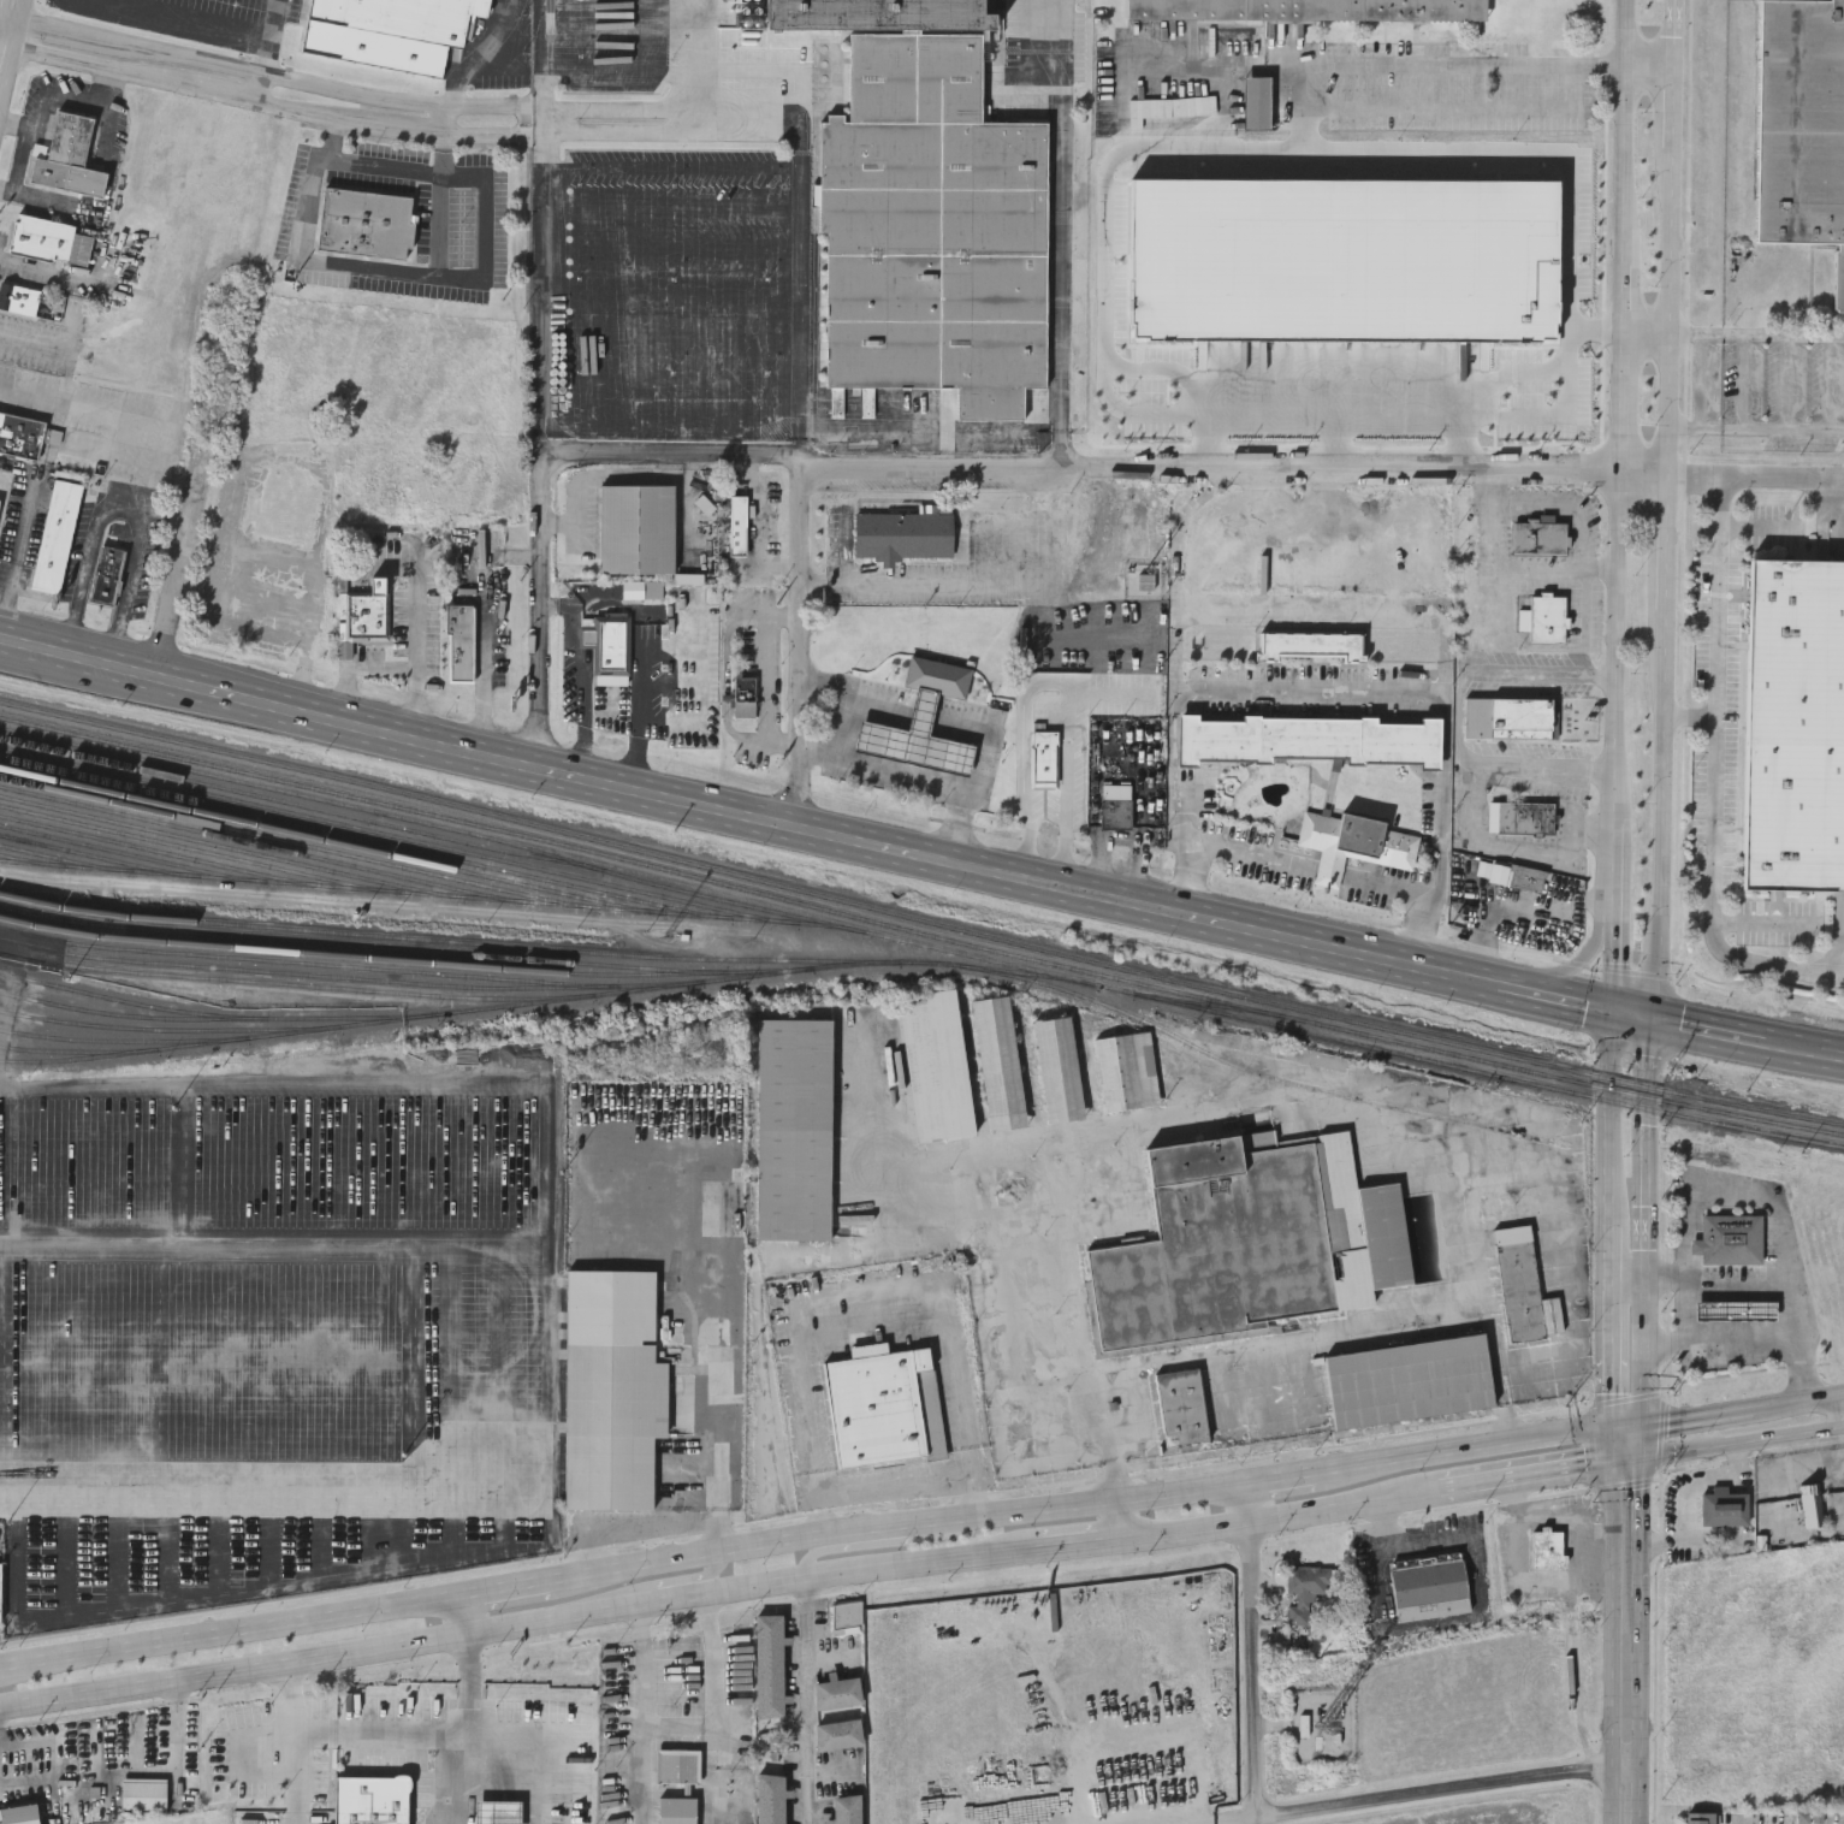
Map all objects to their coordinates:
building: (1306, 8)
road: (20, 19)
road: (273, 19)
road: (176, 22)
building: (390, 32)
road: (1677, 32)
road: (8, 37)
road: (266, 57)
road: (496, 61)
road: (1451, 65)
road: (8, 76)
road: (274, 76)
road: (1123, 84)
road: (260, 88)
road: (275, 106)
road: (1677, 107)
building: (1259, 113)
road: (615, 118)
road: (443, 120)
building: (1801, 126)
building: (67, 158)
road: (387, 167)
road: (799, 173)
building: (927, 212)
road: (1061, 214)
building: (364, 220)
building: (42, 236)
road: (364, 268)
road: (541, 277)
building: (19, 297)
road: (1674, 310)
road: (1599, 330)
road: (1757, 334)
road: (40, 339)
road: (1648, 342)
road: (1381, 416)
road: (1757, 427)
building: (19, 434)
road: (1209, 443)
road: (1336, 443)
road: (1465, 444)
road: (799, 446)
road: (1061, 450)
road: (115, 457)
road: (155, 468)
road: (1105, 469)
road: (1757, 475)
road: (128, 501)
building: (0, 504)
road: (1621, 505)
road: (1566, 509)
building: (287, 510)
road: (1492, 520)
building: (739, 522)
road: (764, 523)
building: (638, 526)
road: (319, 527)
road: (1757, 528)
building: (903, 532)
building: (55, 535)
building: (1537, 537)
road: (1670, 541)
road: (18, 565)
road: (178, 567)
road: (1536, 569)
road: (1600, 570)
building: (106, 573)
road: (85, 576)
road: (1179, 578)
road: (977, 581)
building: (641, 587)
road: (540, 603)
road: (1492, 603)
road: (1579, 605)
building: (367, 614)
building: (1546, 618)
road: (5, 640)
building: (461, 640)
road: (796, 641)
building: (1311, 642)
building: (609, 644)
road: (37, 649)
road: (109, 665)
road: (395, 665)
road: (765, 675)
building: (938, 675)
road: (583, 676)
road: (1057, 679)
road: (822, 685)
road: (1336, 689)
building: (743, 693)
road: (1114, 699)
road: (639, 706)
road: (914, 711)
road: (298, 712)
road: (1457, 715)
building: (1508, 716)
road: (1690, 716)
building: (1795, 724)
building: (915, 739)
building: (1315, 741)
road: (492, 759)
building: (1045, 760)
road: (1714, 777)
road: (919, 780)
railway: (250, 794)
building: (1117, 794)
railway: (326, 800)
road: (1664, 813)
building: (1525, 816)
railway: (351, 835)
railway: (383, 835)
railway: (318, 839)
railway: (253, 842)
building: (1353, 842)
railway: (290, 843)
railway: (218, 846)
railway: (154, 849)
railway: (188, 849)
railway: (84, 853)
railway: (123, 853)
road: (1238, 853)
railway: (53, 855)
railway: (20, 858)
railway: (544, 858)
building: (1526, 875)
road: (1019, 878)
railway: (532, 901)
railway: (746, 905)
railway: (920, 919)
road: (1761, 923)
railway: (920, 934)
railway: (432, 941)
railway: (395, 948)
railway: (360, 958)
railway: (336, 966)
road: (1577, 966)
railway: (301, 977)
railway: (273, 983)
railway: (1103, 987)
road: (1557, 997)
railway: (528, 1001)
railway: (1204, 1005)
traffic signals: (1614, 1012)
railway: (121, 1014)
road: (1632, 1014)
traffic signals: (1650, 1018)
railway: (106, 1026)
road: (1697, 1028)
railway: (266, 1029)
railway: (109, 1041)
railway: (204, 1042)
road: (1614, 1046)
road: (1793, 1047)
railway: (61, 1050)
road: (1648, 1052)
building: (1000, 1061)
building: (937, 1065)
building: (1060, 1068)
building: (1128, 1070)
railway: (1258, 1072)
railway: (1494, 1074)
building: (795, 1127)
building: (724, 1207)
building: (1730, 1238)
road: (274, 1239)
building: (1246, 1239)
road: (1615, 1255)
road: (1668, 1279)
road: (549, 1281)
road: (1750, 1281)
building: (1522, 1283)
building: (1735, 1309)
road: (873, 1327)
road: (1368, 1329)
road: (1742, 1340)
road: (725, 1356)
road: (1504, 1369)
building: (1410, 1380)
building: (612, 1388)
road: (1797, 1400)
building: (885, 1405)
building: (1181, 1407)
road: (1696, 1417)
traffic signals: (1642, 1426)
road: (1630, 1427)
traffic signals: (1618, 1429)
road: (1730, 1444)
road: (1469, 1450)
road: (1641, 1455)
traffic signals: (1641, 1458)
traffic signals: (1617, 1462)
road: (1814, 1463)
road: (1526, 1475)
road: (1282, 1476)
road: (895, 1481)
road: (1676, 1485)
building: (1810, 1503)
building: (1724, 1506)
building: (1683, 1508)
road: (1280, 1512)
road: (1567, 1515)
road: (1120, 1518)
road: (1381, 1528)
road: (897, 1533)
road: (1465, 1539)
road: (1083, 1542)
road: (860, 1545)
building: (1546, 1550)
road: (1522, 1571)
road: (652, 1586)
building: (1428, 1587)
road: (242, 1591)
road: (505, 1591)
building: (1303, 1591)
road: (463, 1615)
building: (846, 1616)
road: (521, 1623)
road: (1613, 1625)
road: (230, 1630)
road: (1397, 1631)
road: (1252, 1652)
building: (770, 1666)
road: (472, 1683)
road: (286, 1692)
building: (837, 1692)
road: (805, 1702)
road: (724, 1708)
road: (642, 1715)
road: (332, 1731)
building: (561, 1734)
building: (840, 1735)
road: (232, 1752)
road: (530, 1765)
building: (677, 1766)
building: (508, 1767)
road: (455, 1778)
road: (17, 1781)
road: (1422, 1792)
building: (141, 1794)
building: (771, 1799)
building: (677, 1810)
building: (847, 1810)
building: (17, 1814)
building: (1695, 1819)

